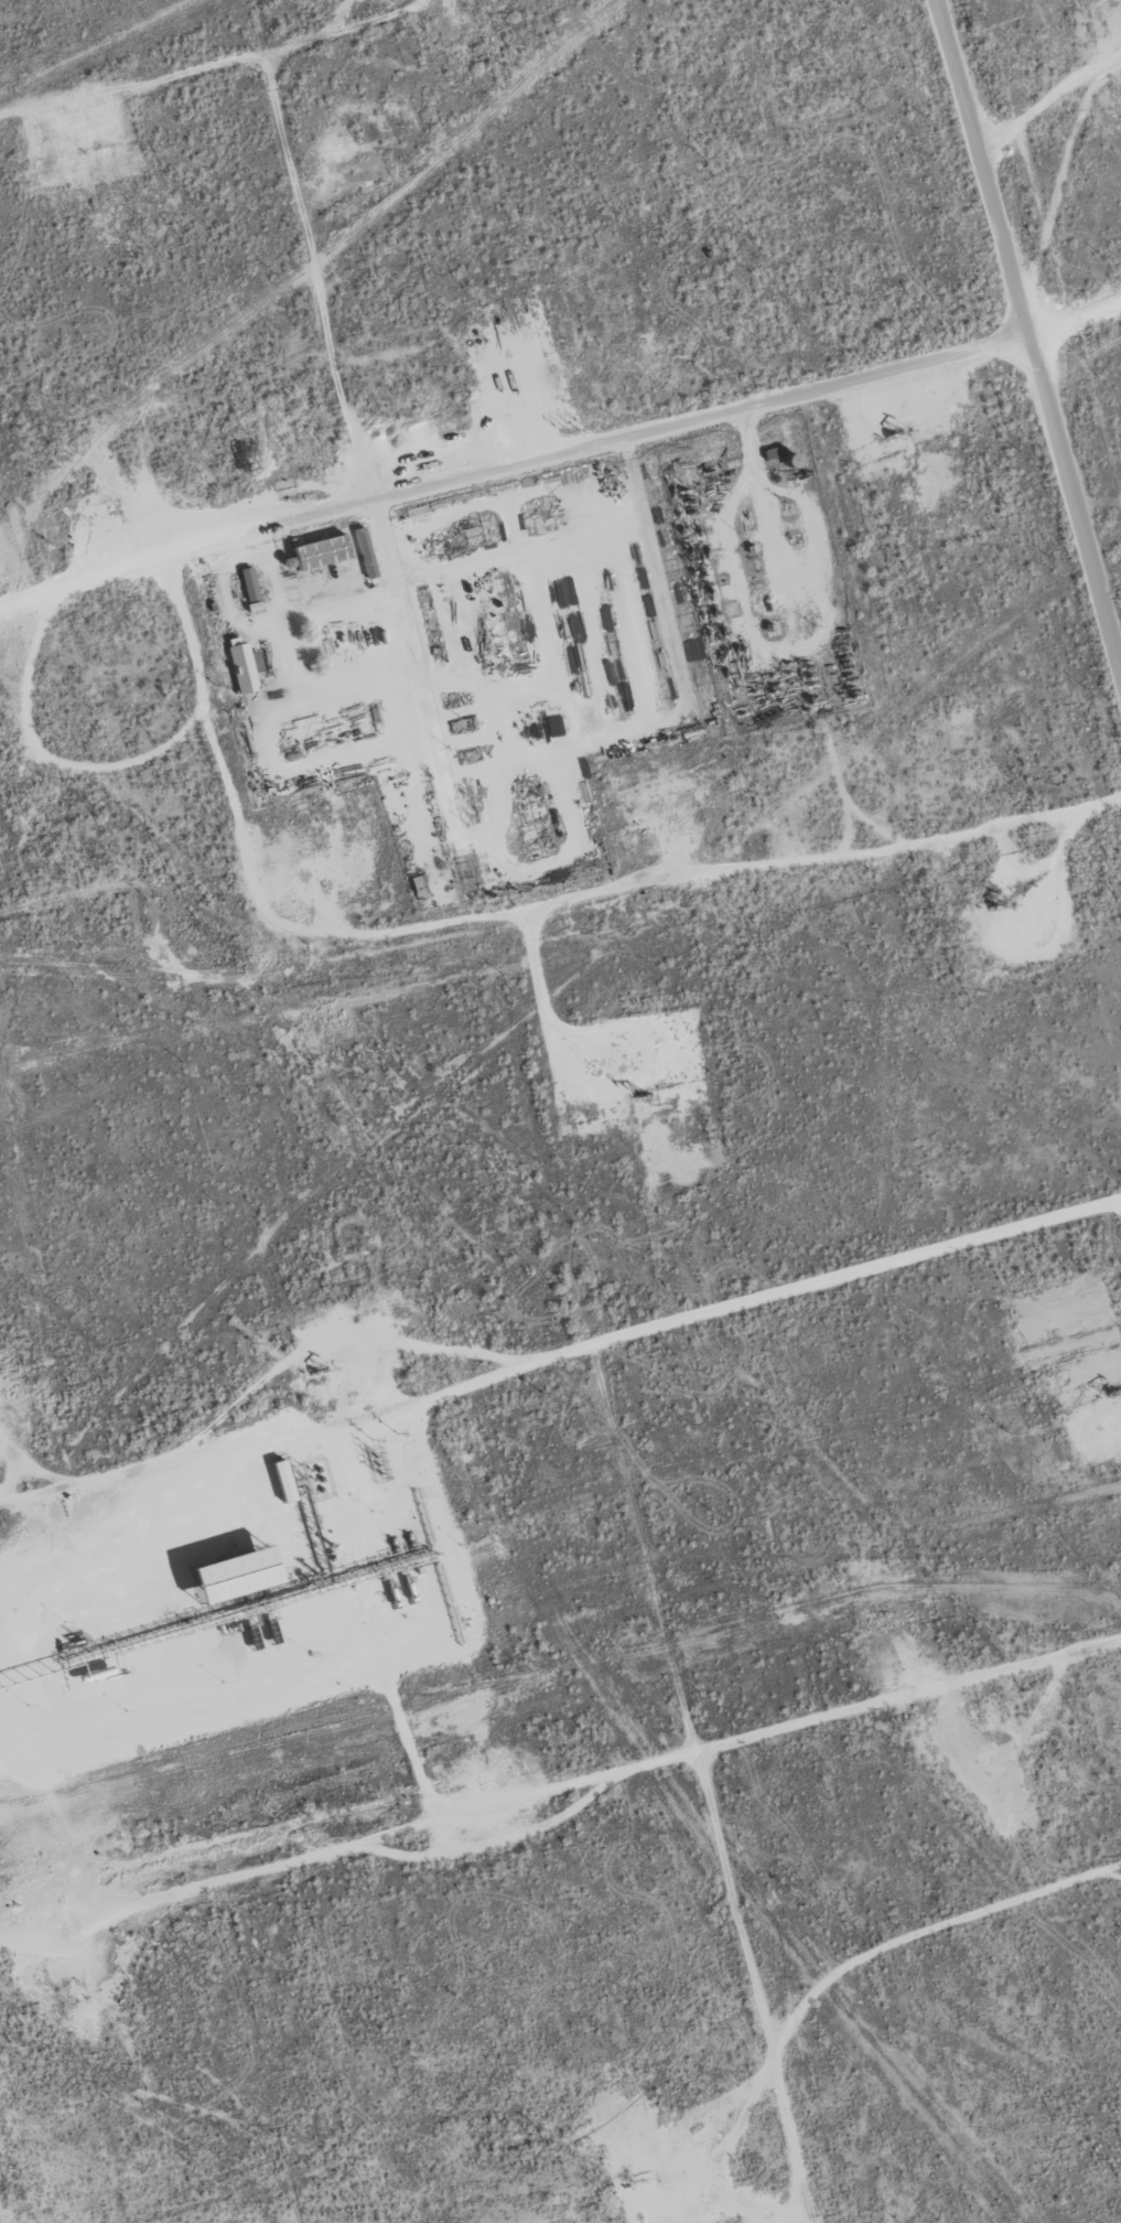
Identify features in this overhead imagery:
road: (1045, 100)
road: (1075, 326)
road: (1028, 337)
road: (513, 474)
building: (319, 551)
building: (364, 551)
building: (246, 586)
building: (241, 667)
road: (599, 1366)
building: (278, 1480)
building: (220, 1572)

